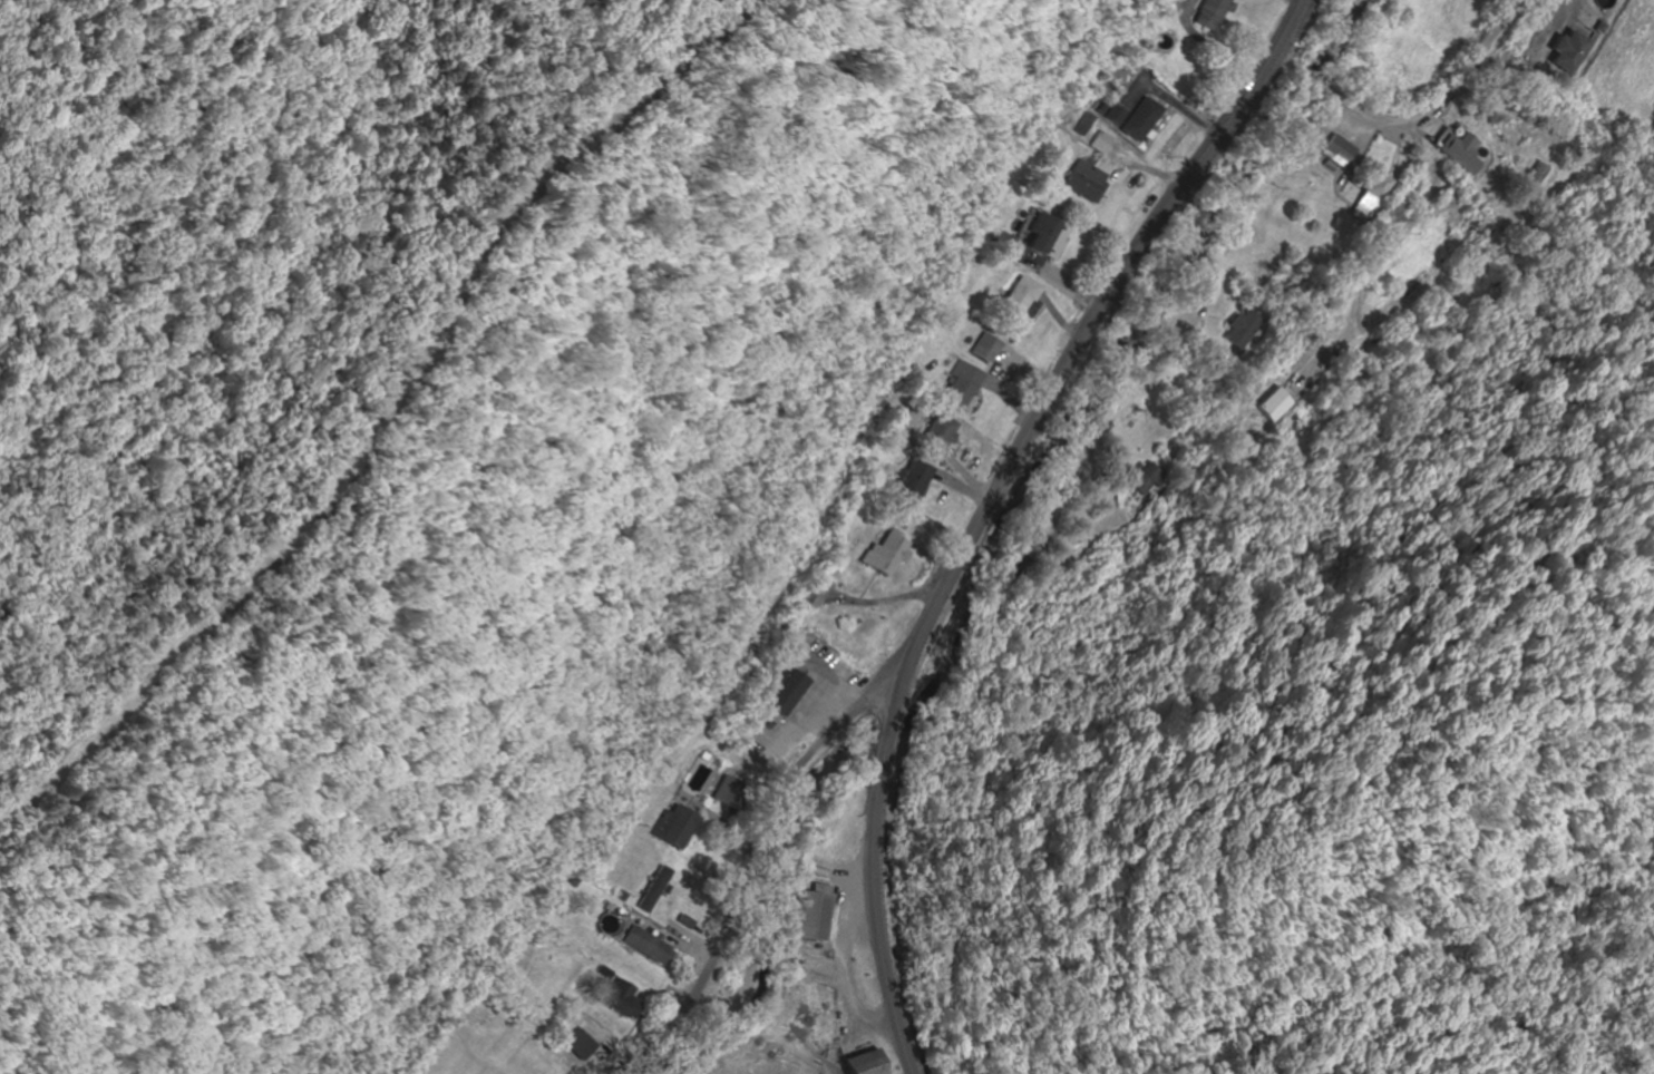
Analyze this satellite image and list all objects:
road: (1413, 115)
road: (986, 505)
road: (746, 862)

